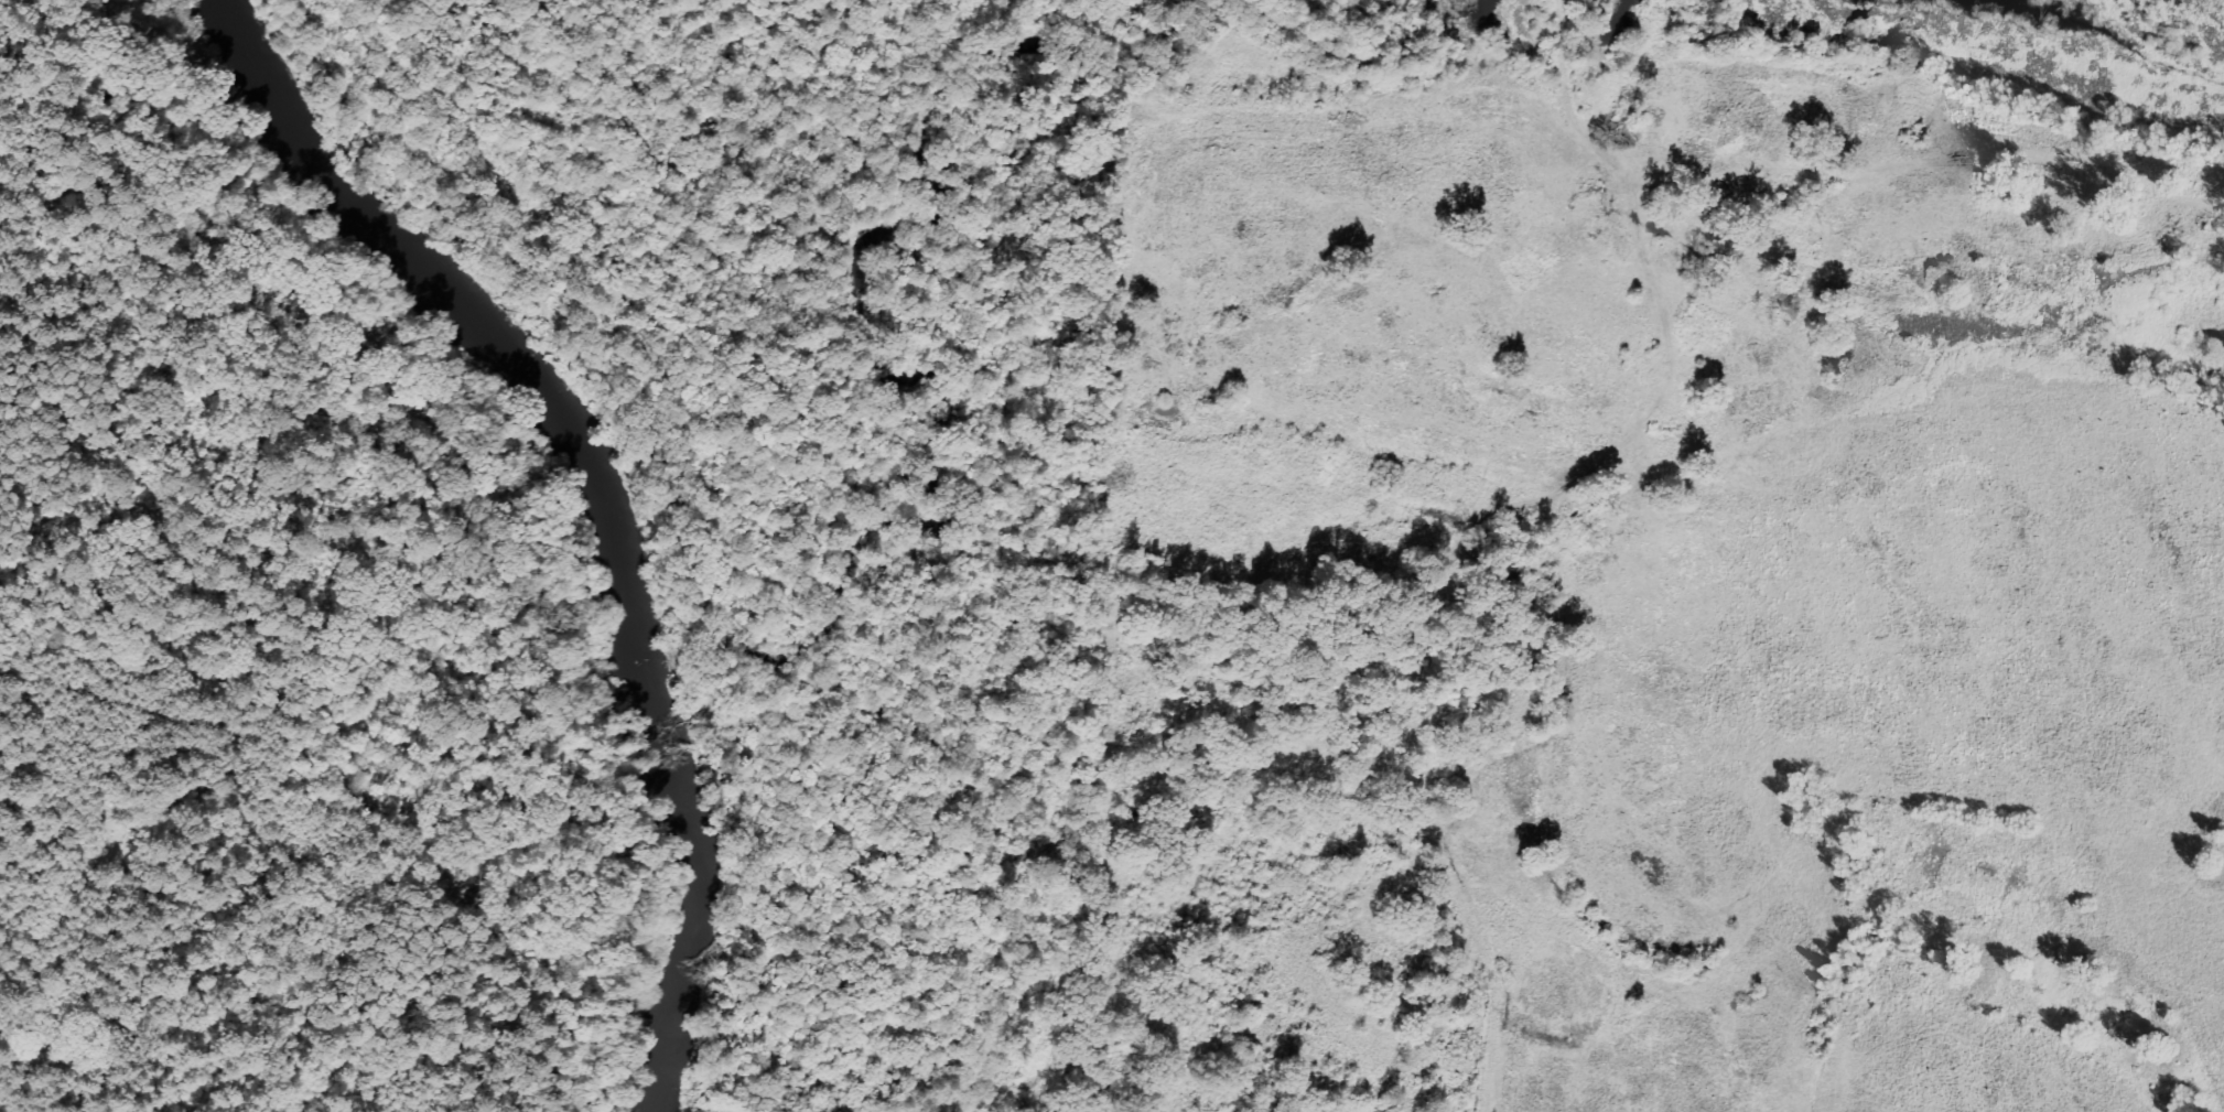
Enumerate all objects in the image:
road: (425, 153)

